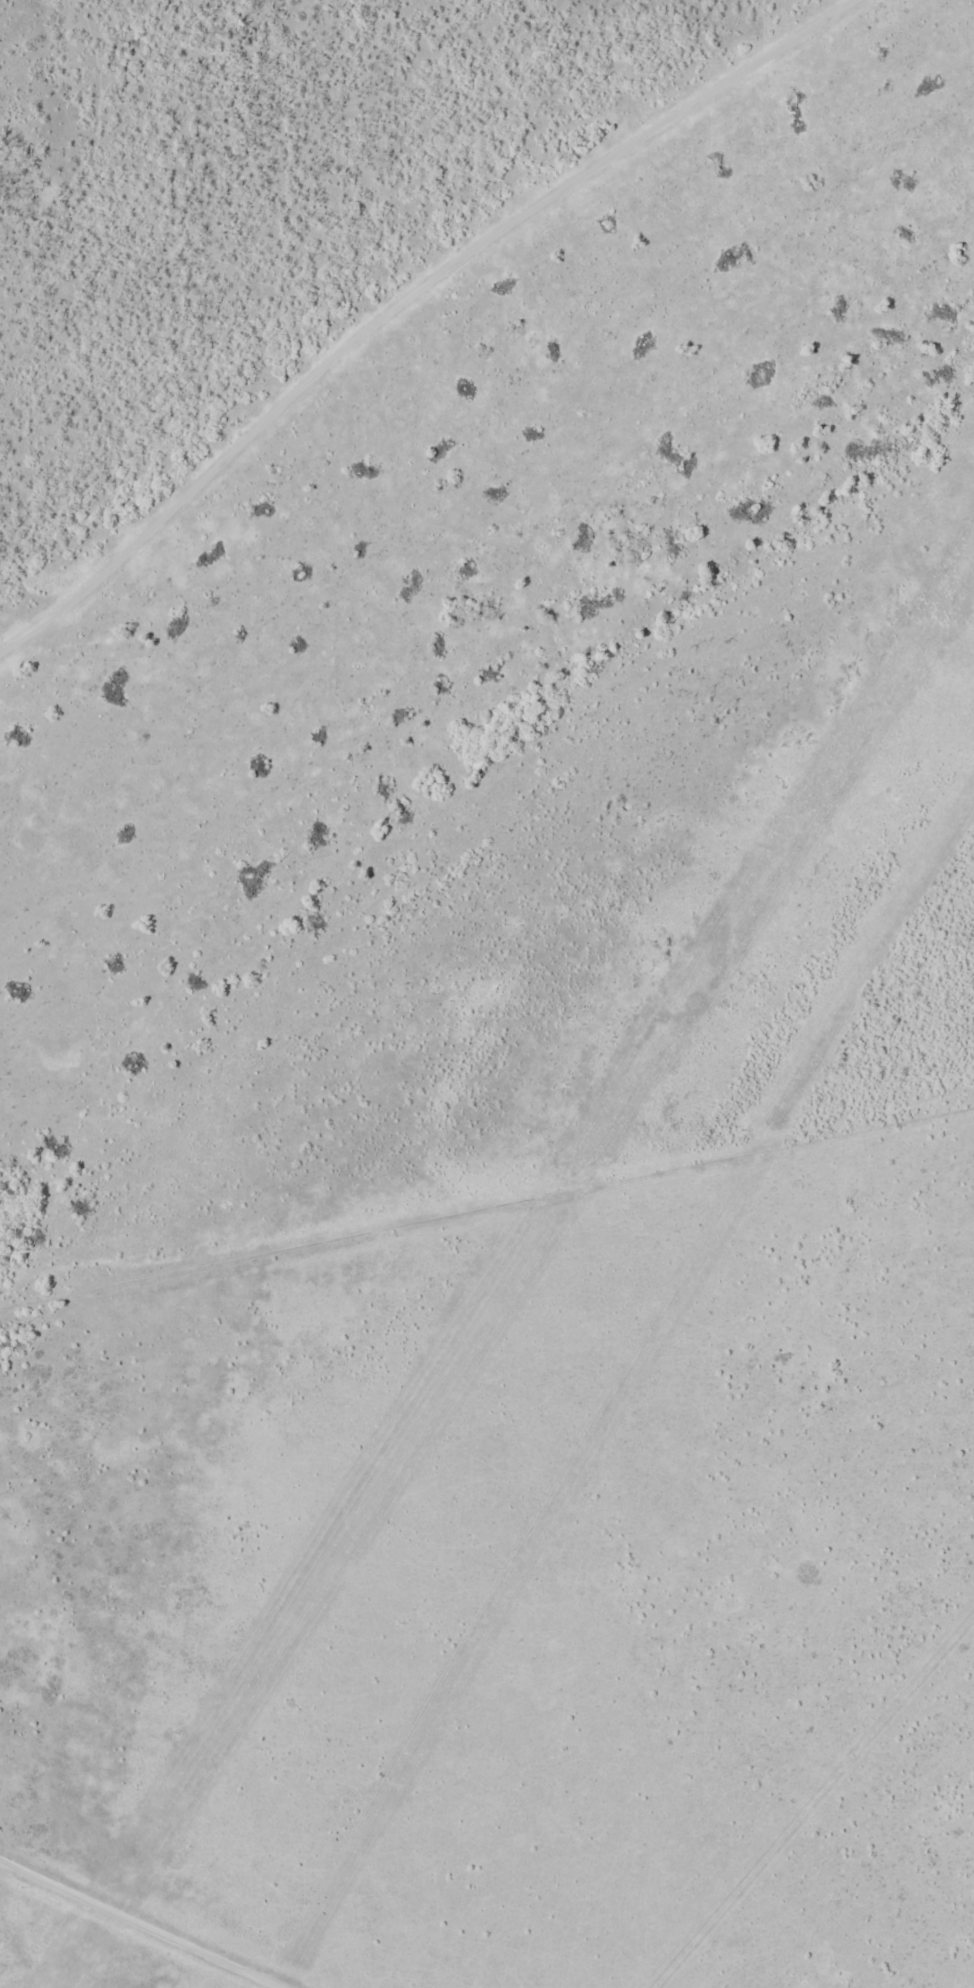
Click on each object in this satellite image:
road: (407, 299)
road: (137, 1925)

